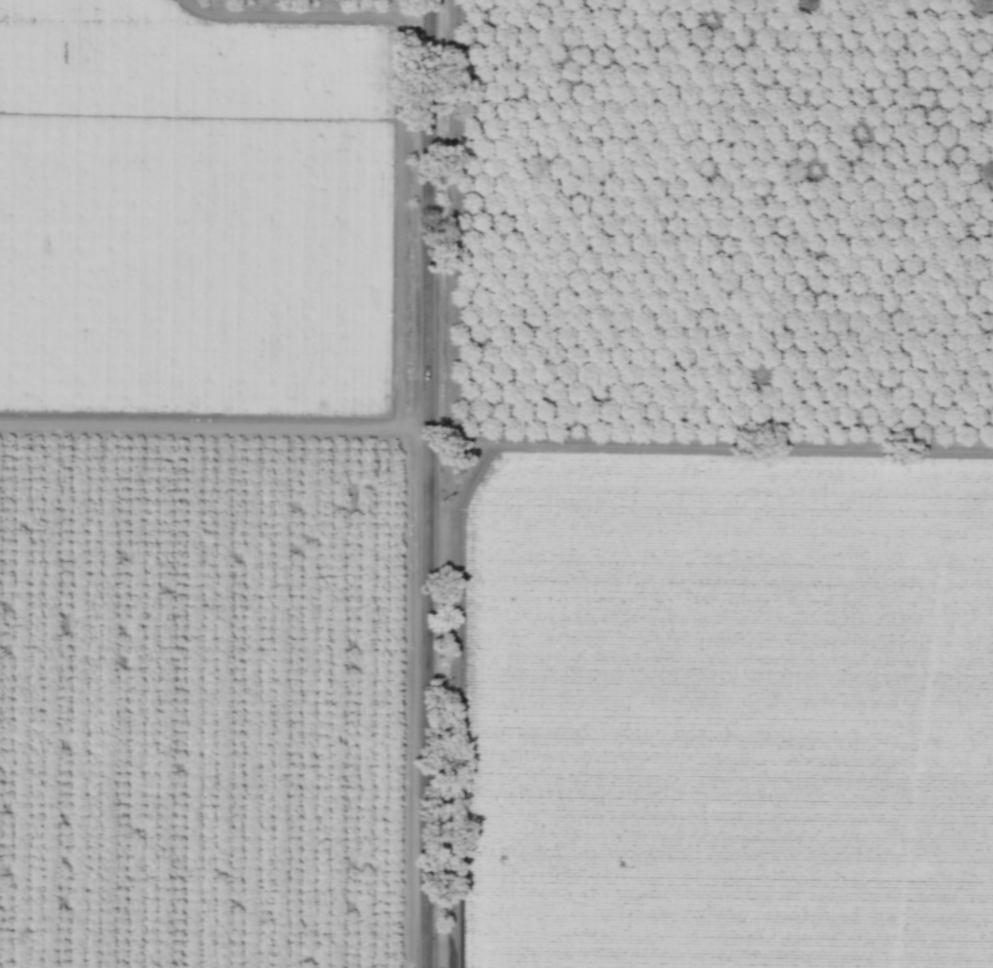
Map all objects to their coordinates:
road: (425, 483)

